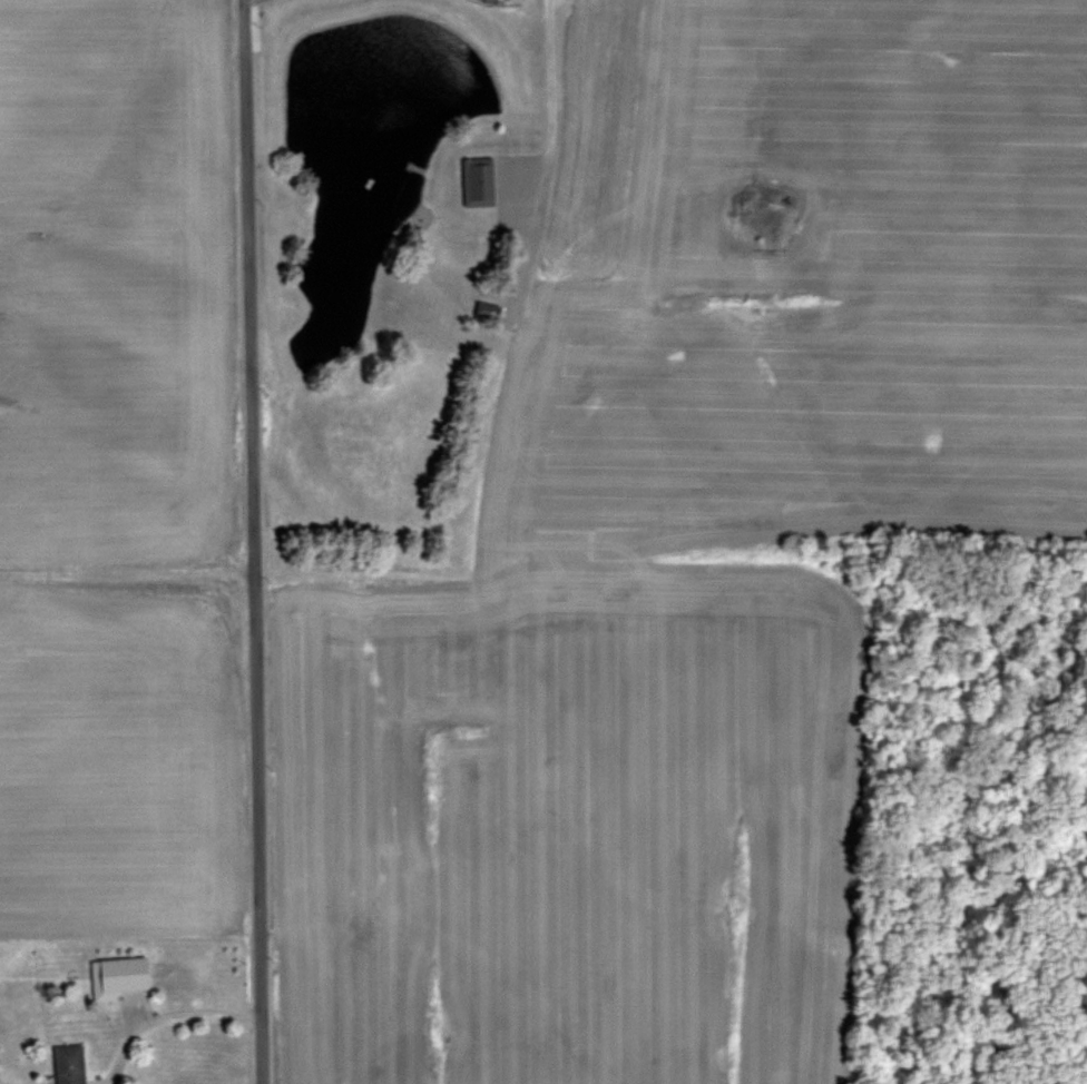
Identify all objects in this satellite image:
building: (490, 180)
road: (254, 541)
road: (167, 1014)
building: (72, 1064)

